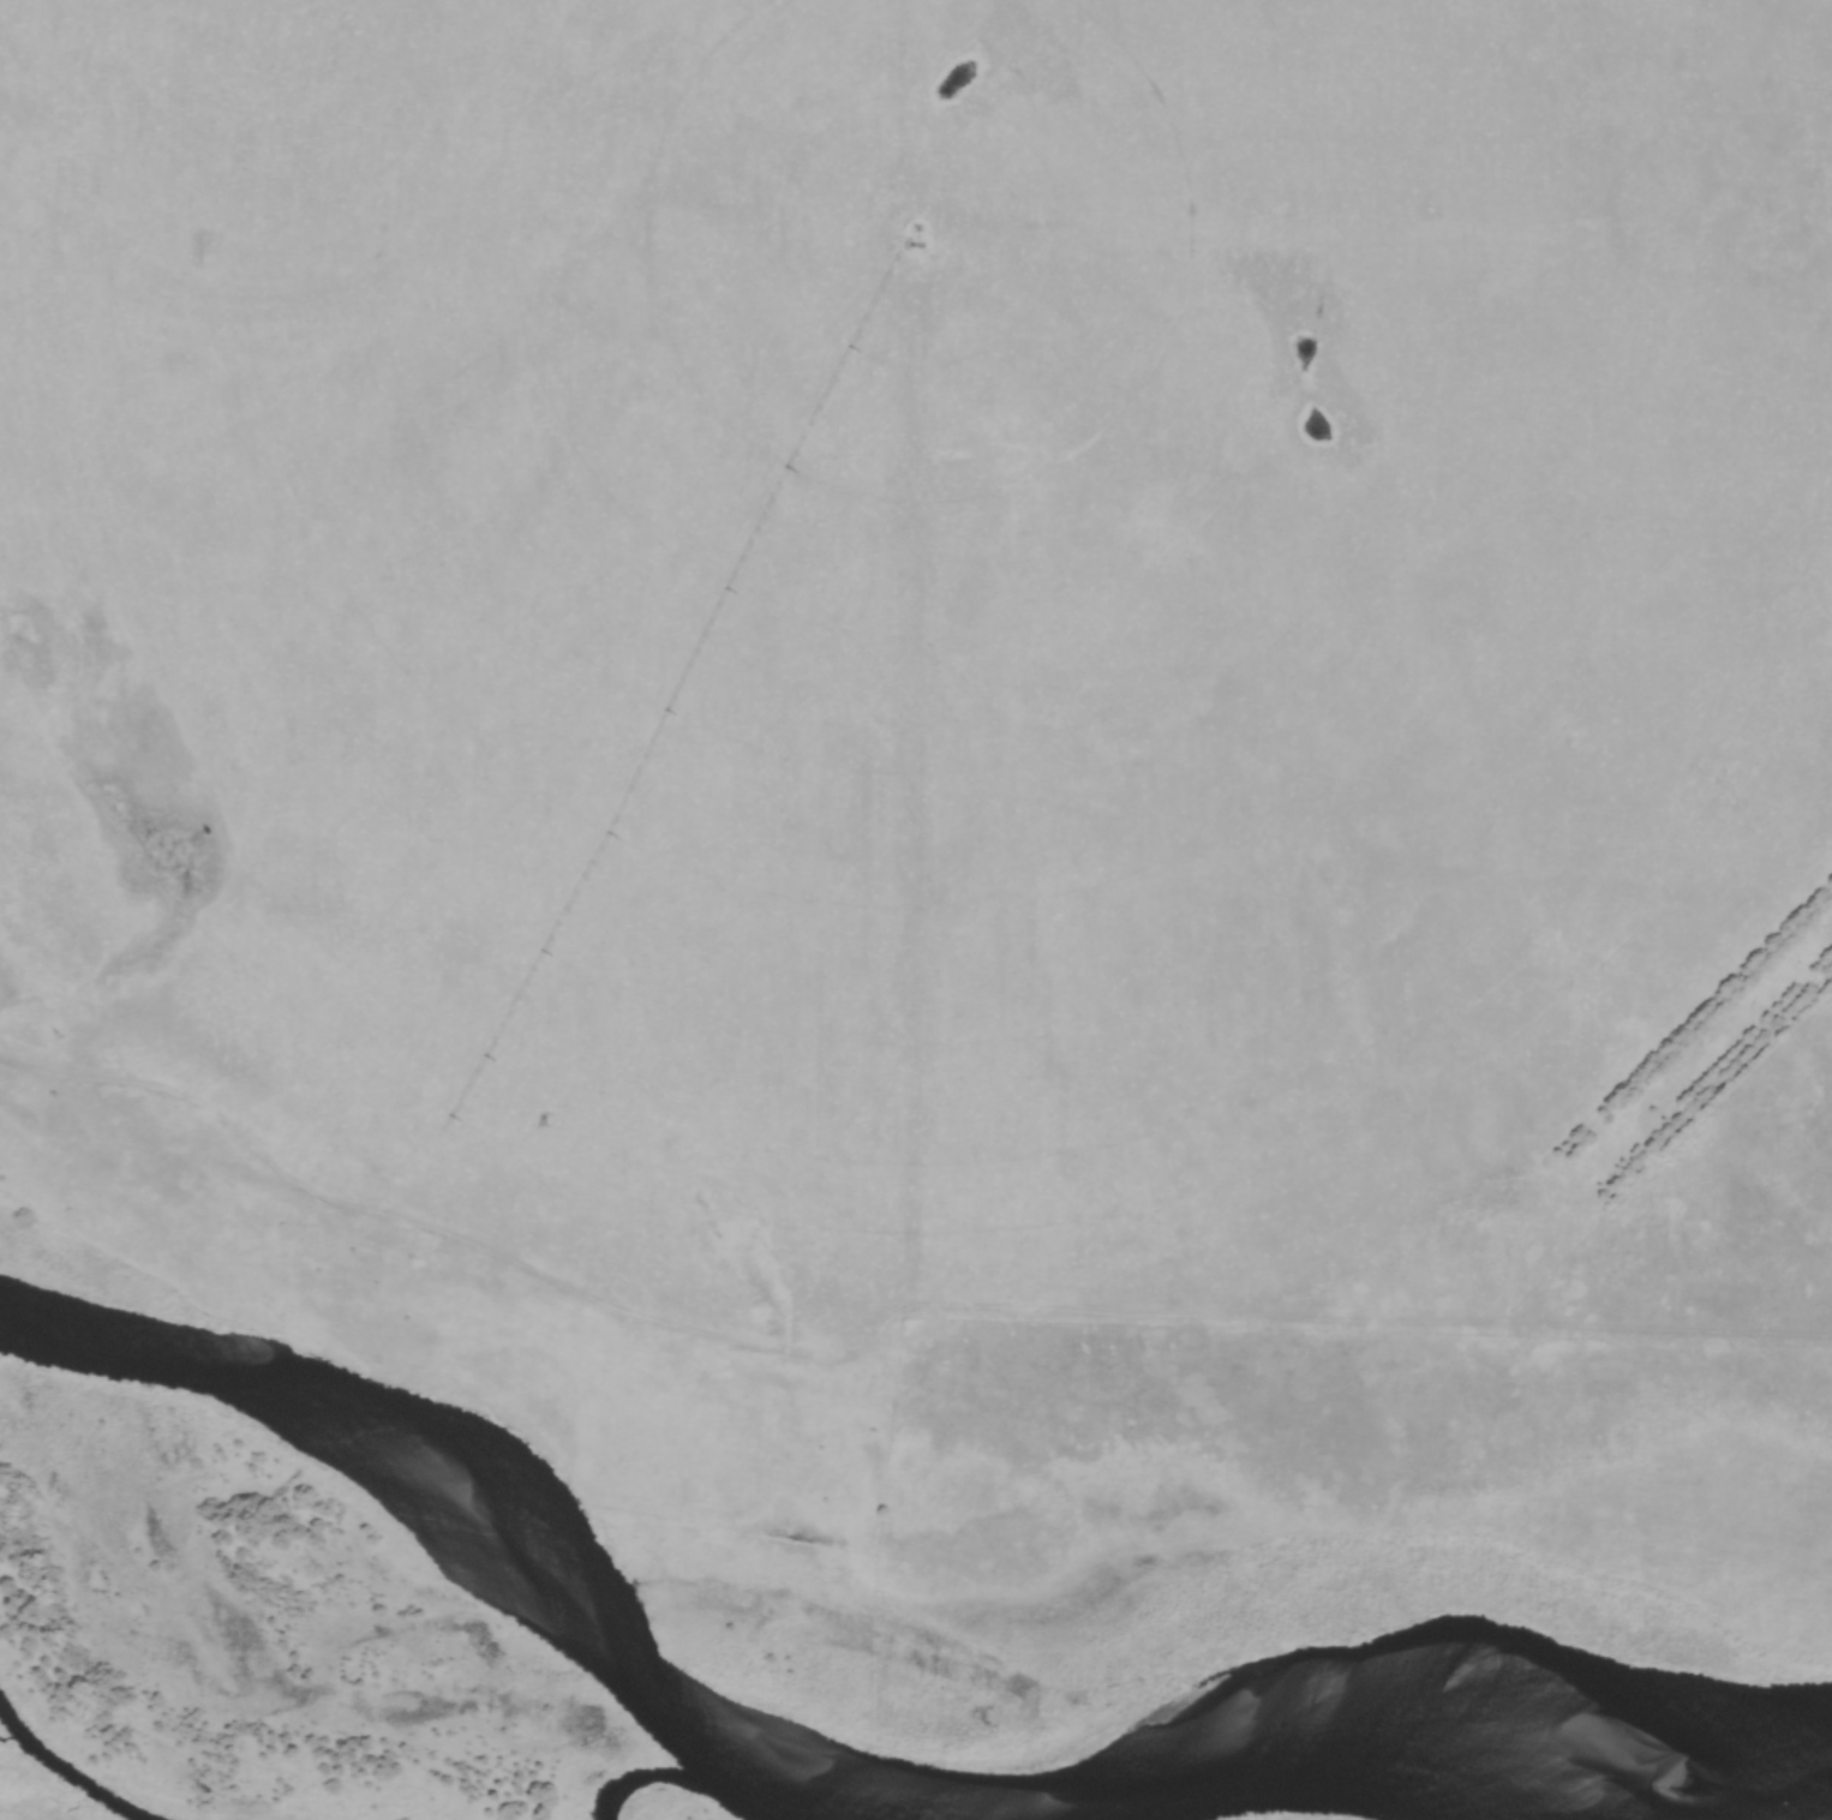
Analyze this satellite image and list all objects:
river: (852, 1786)

